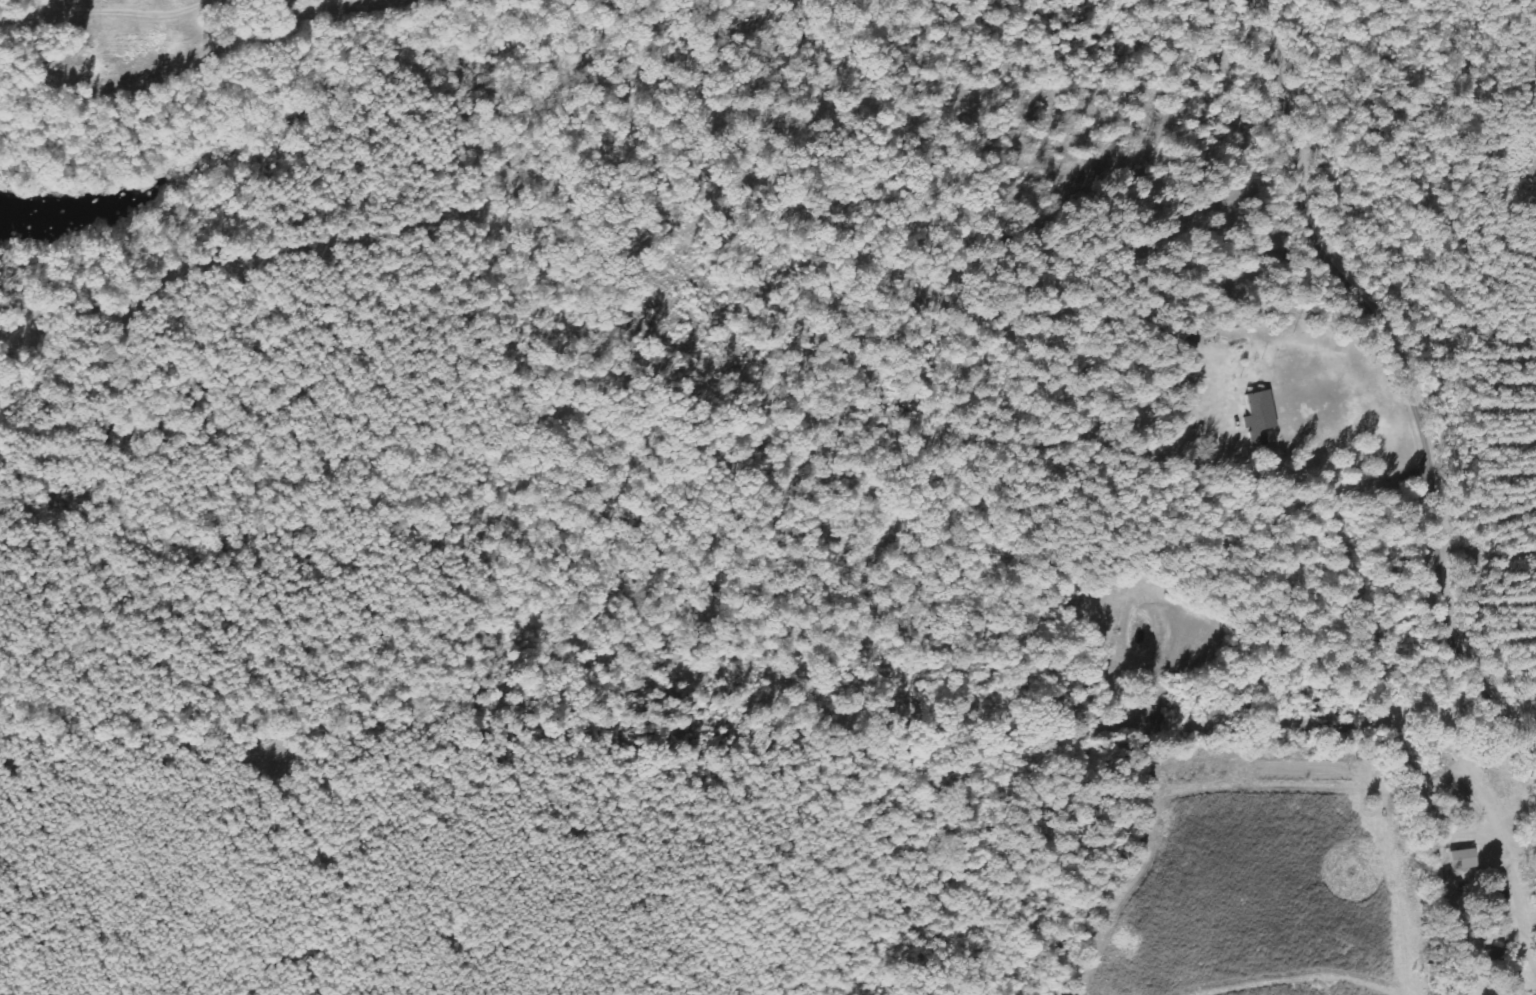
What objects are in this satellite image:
road: (1407, 370)
building: (1258, 412)
building: (1462, 859)

